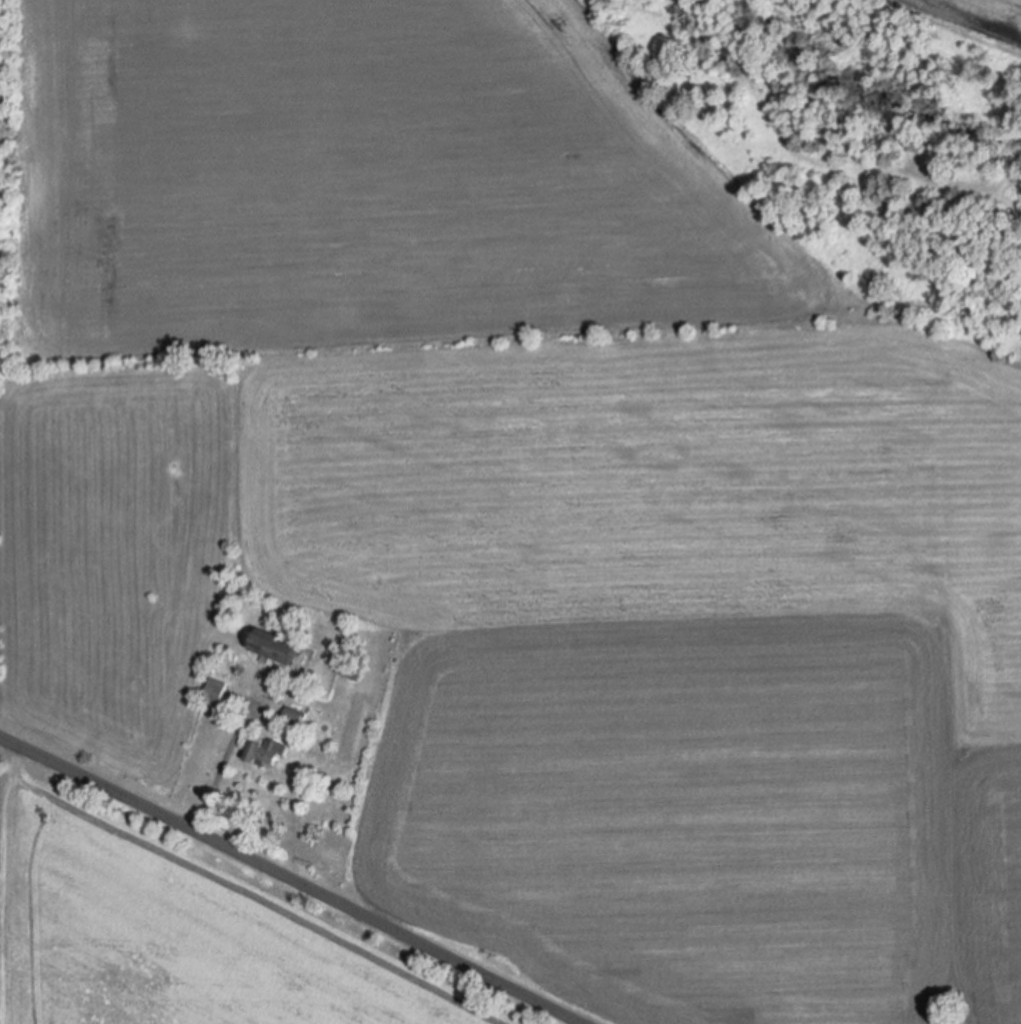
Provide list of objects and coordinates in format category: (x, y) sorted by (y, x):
building: (275, 648)
building: (349, 670)
building: (215, 692)
building: (293, 716)
building: (265, 753)
road: (224, 761)
road: (286, 881)

